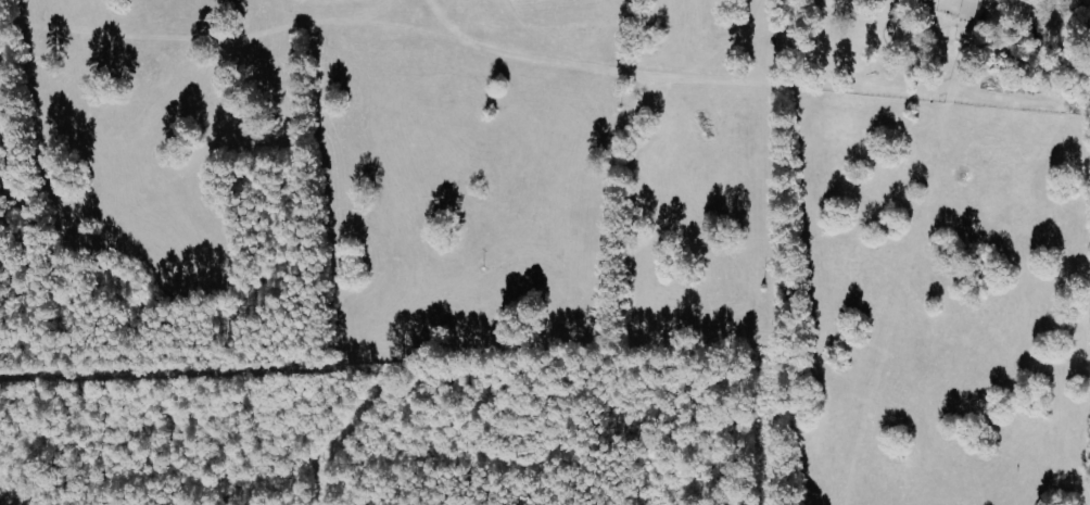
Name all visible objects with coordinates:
building: (971, 10)

